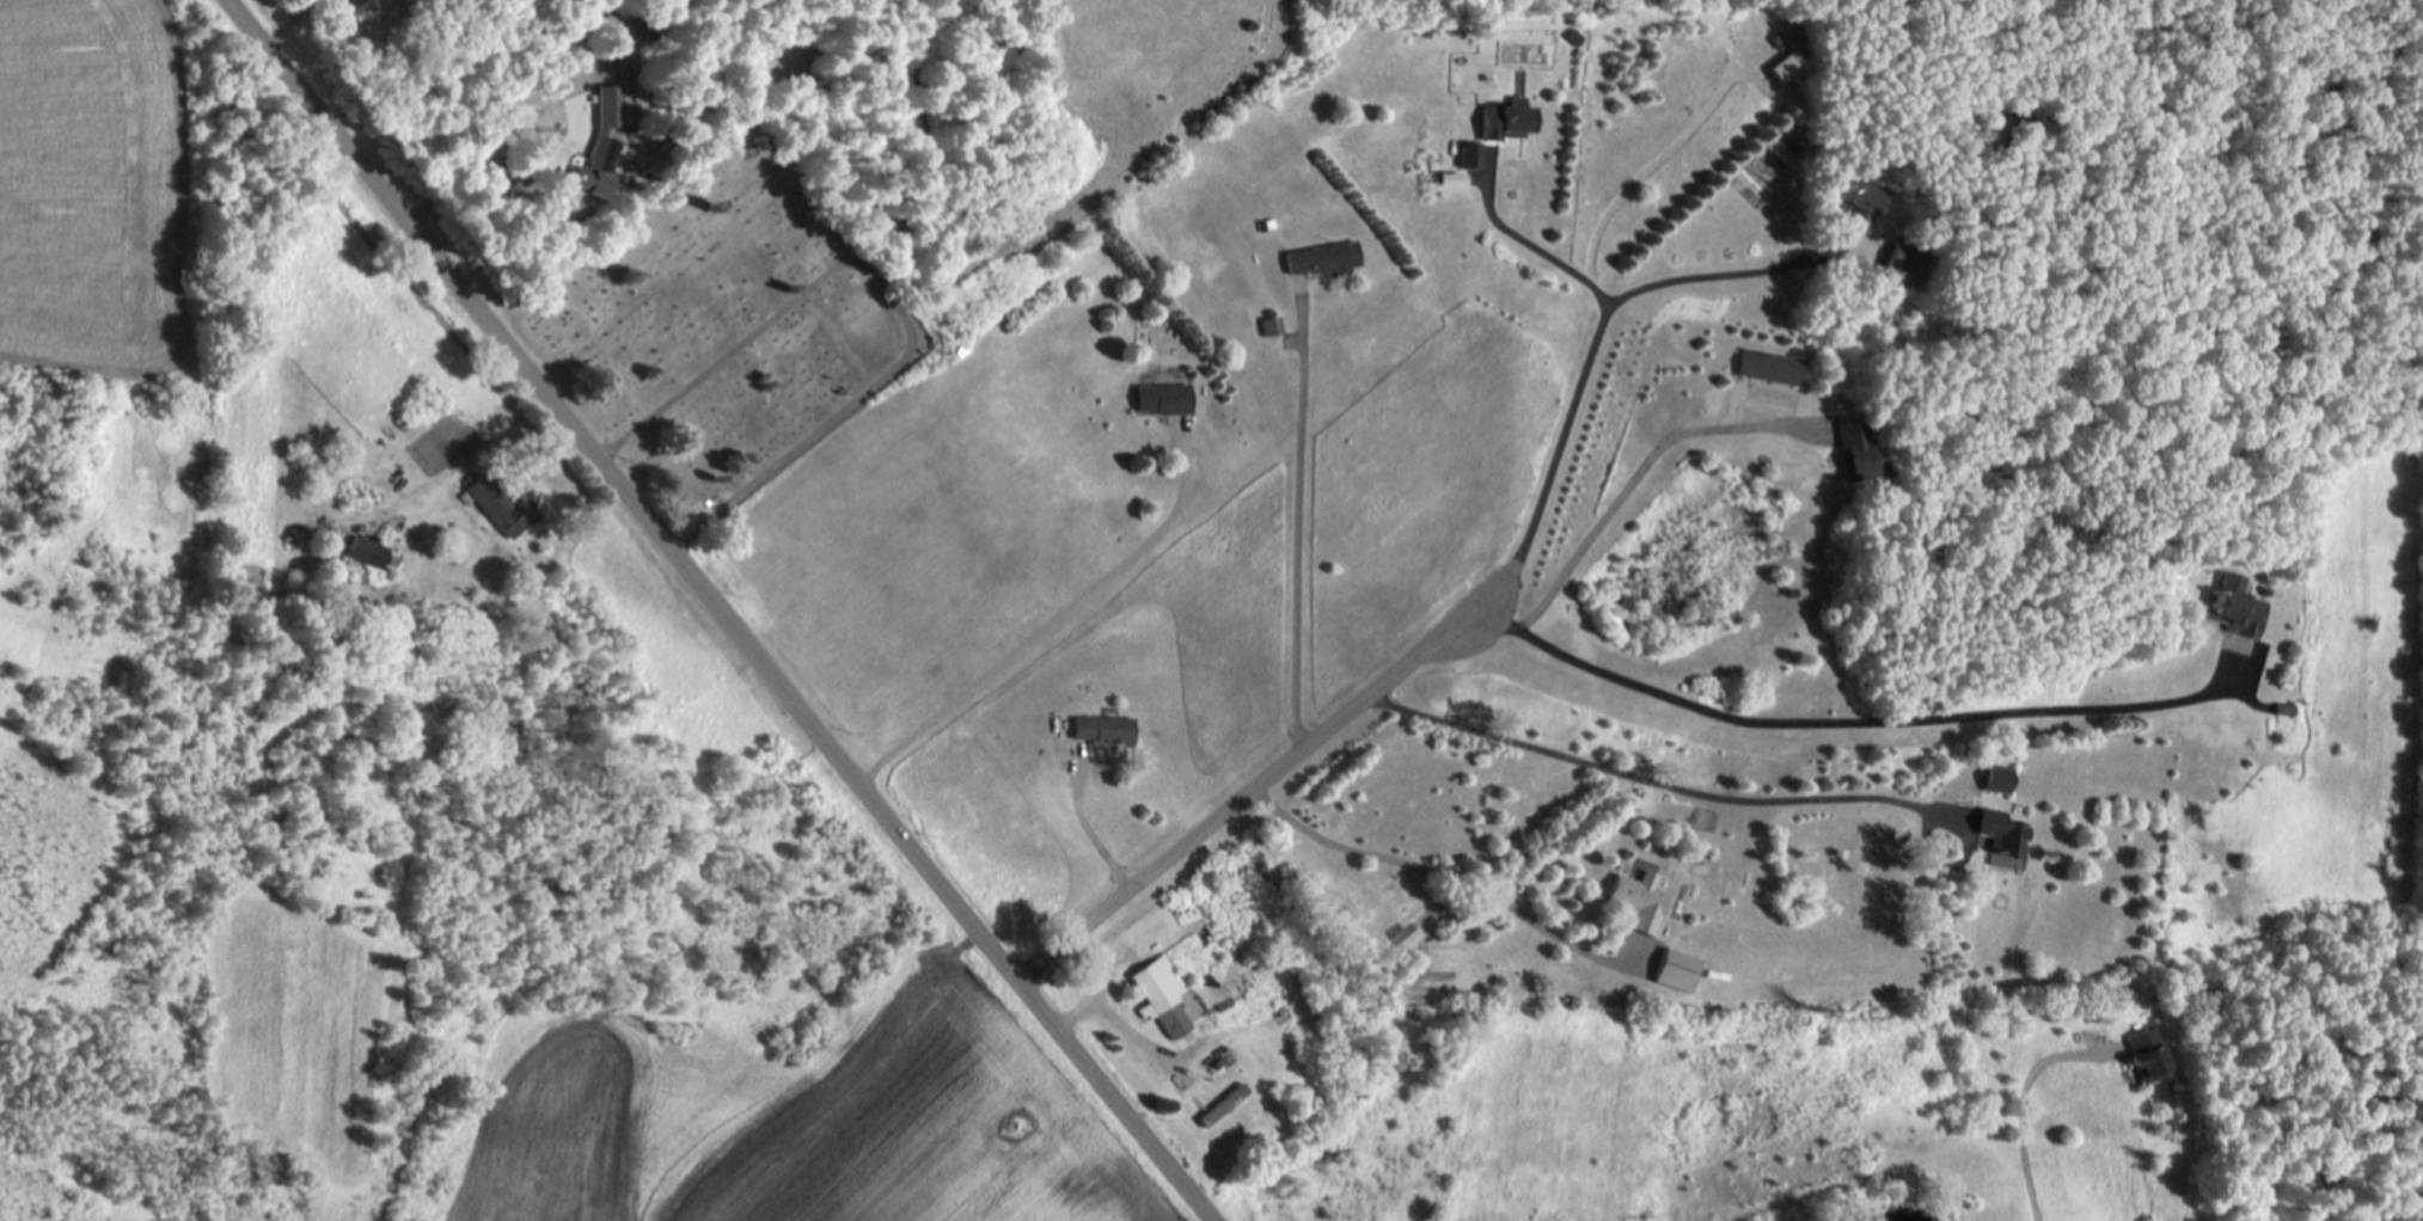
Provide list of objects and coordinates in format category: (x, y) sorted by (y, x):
building: (360, 4)
building: (610, 105)
building: (1503, 119)
building: (1468, 155)
building: (602, 167)
building: (1860, 200)
road: (1532, 233)
building: (1322, 257)
building: (1902, 262)
building: (1272, 324)
park: (717, 329)
road: (1602, 337)
building: (1772, 364)
building: (1163, 397)
building: (1856, 450)
road: (1647, 462)
building: (363, 491)
building: (500, 504)
road: (1305, 514)
building: (2237, 610)
road: (1057, 613)
road: (720, 614)
road: (1862, 711)
building: (1103, 726)
road: (1671, 773)
building: (1999, 777)
road: (1253, 783)
building: (2002, 832)
road: (1443, 876)
building: (1640, 898)
building: (1677, 969)
building: (1161, 994)
building: (2148, 1054)
building: (1222, 1103)
road: (2036, 1105)

